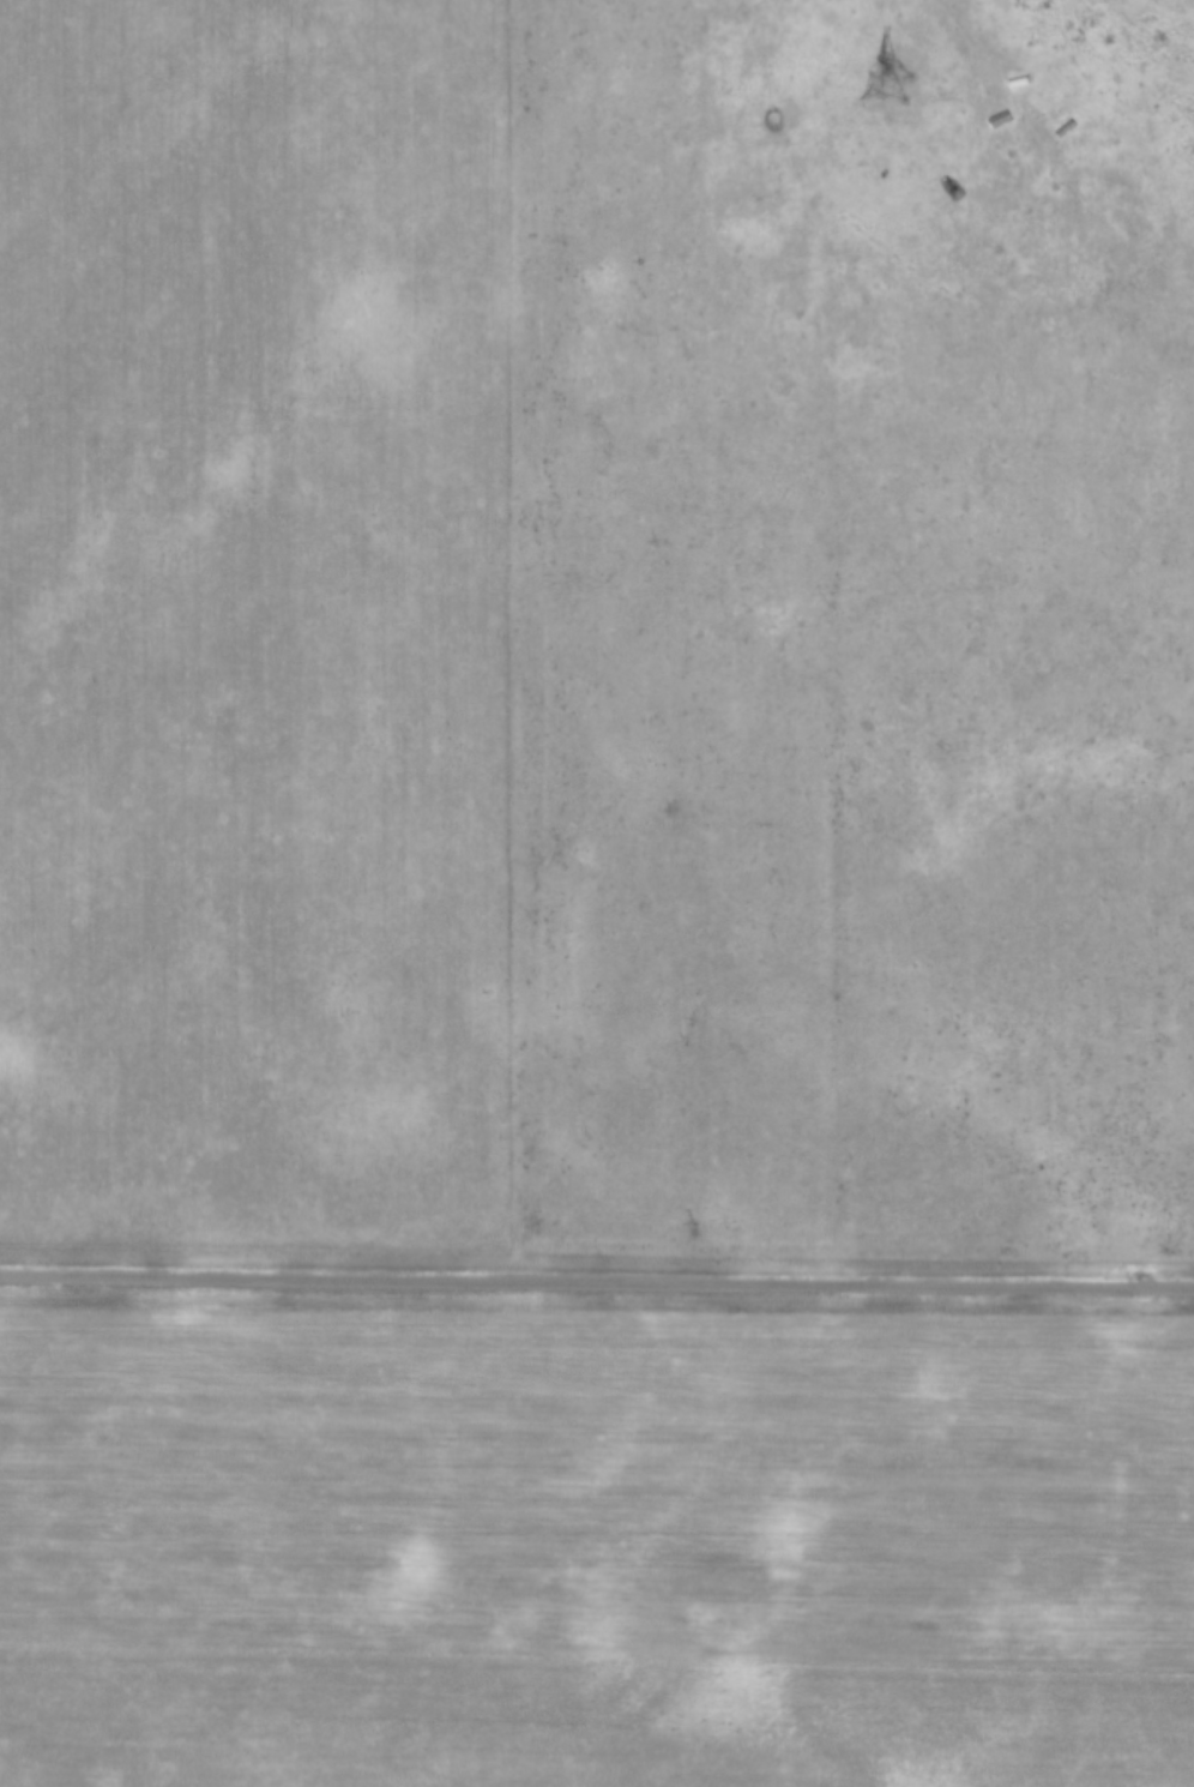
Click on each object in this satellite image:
power tower: (892, 83)
road: (1009, 110)
road: (596, 1287)

